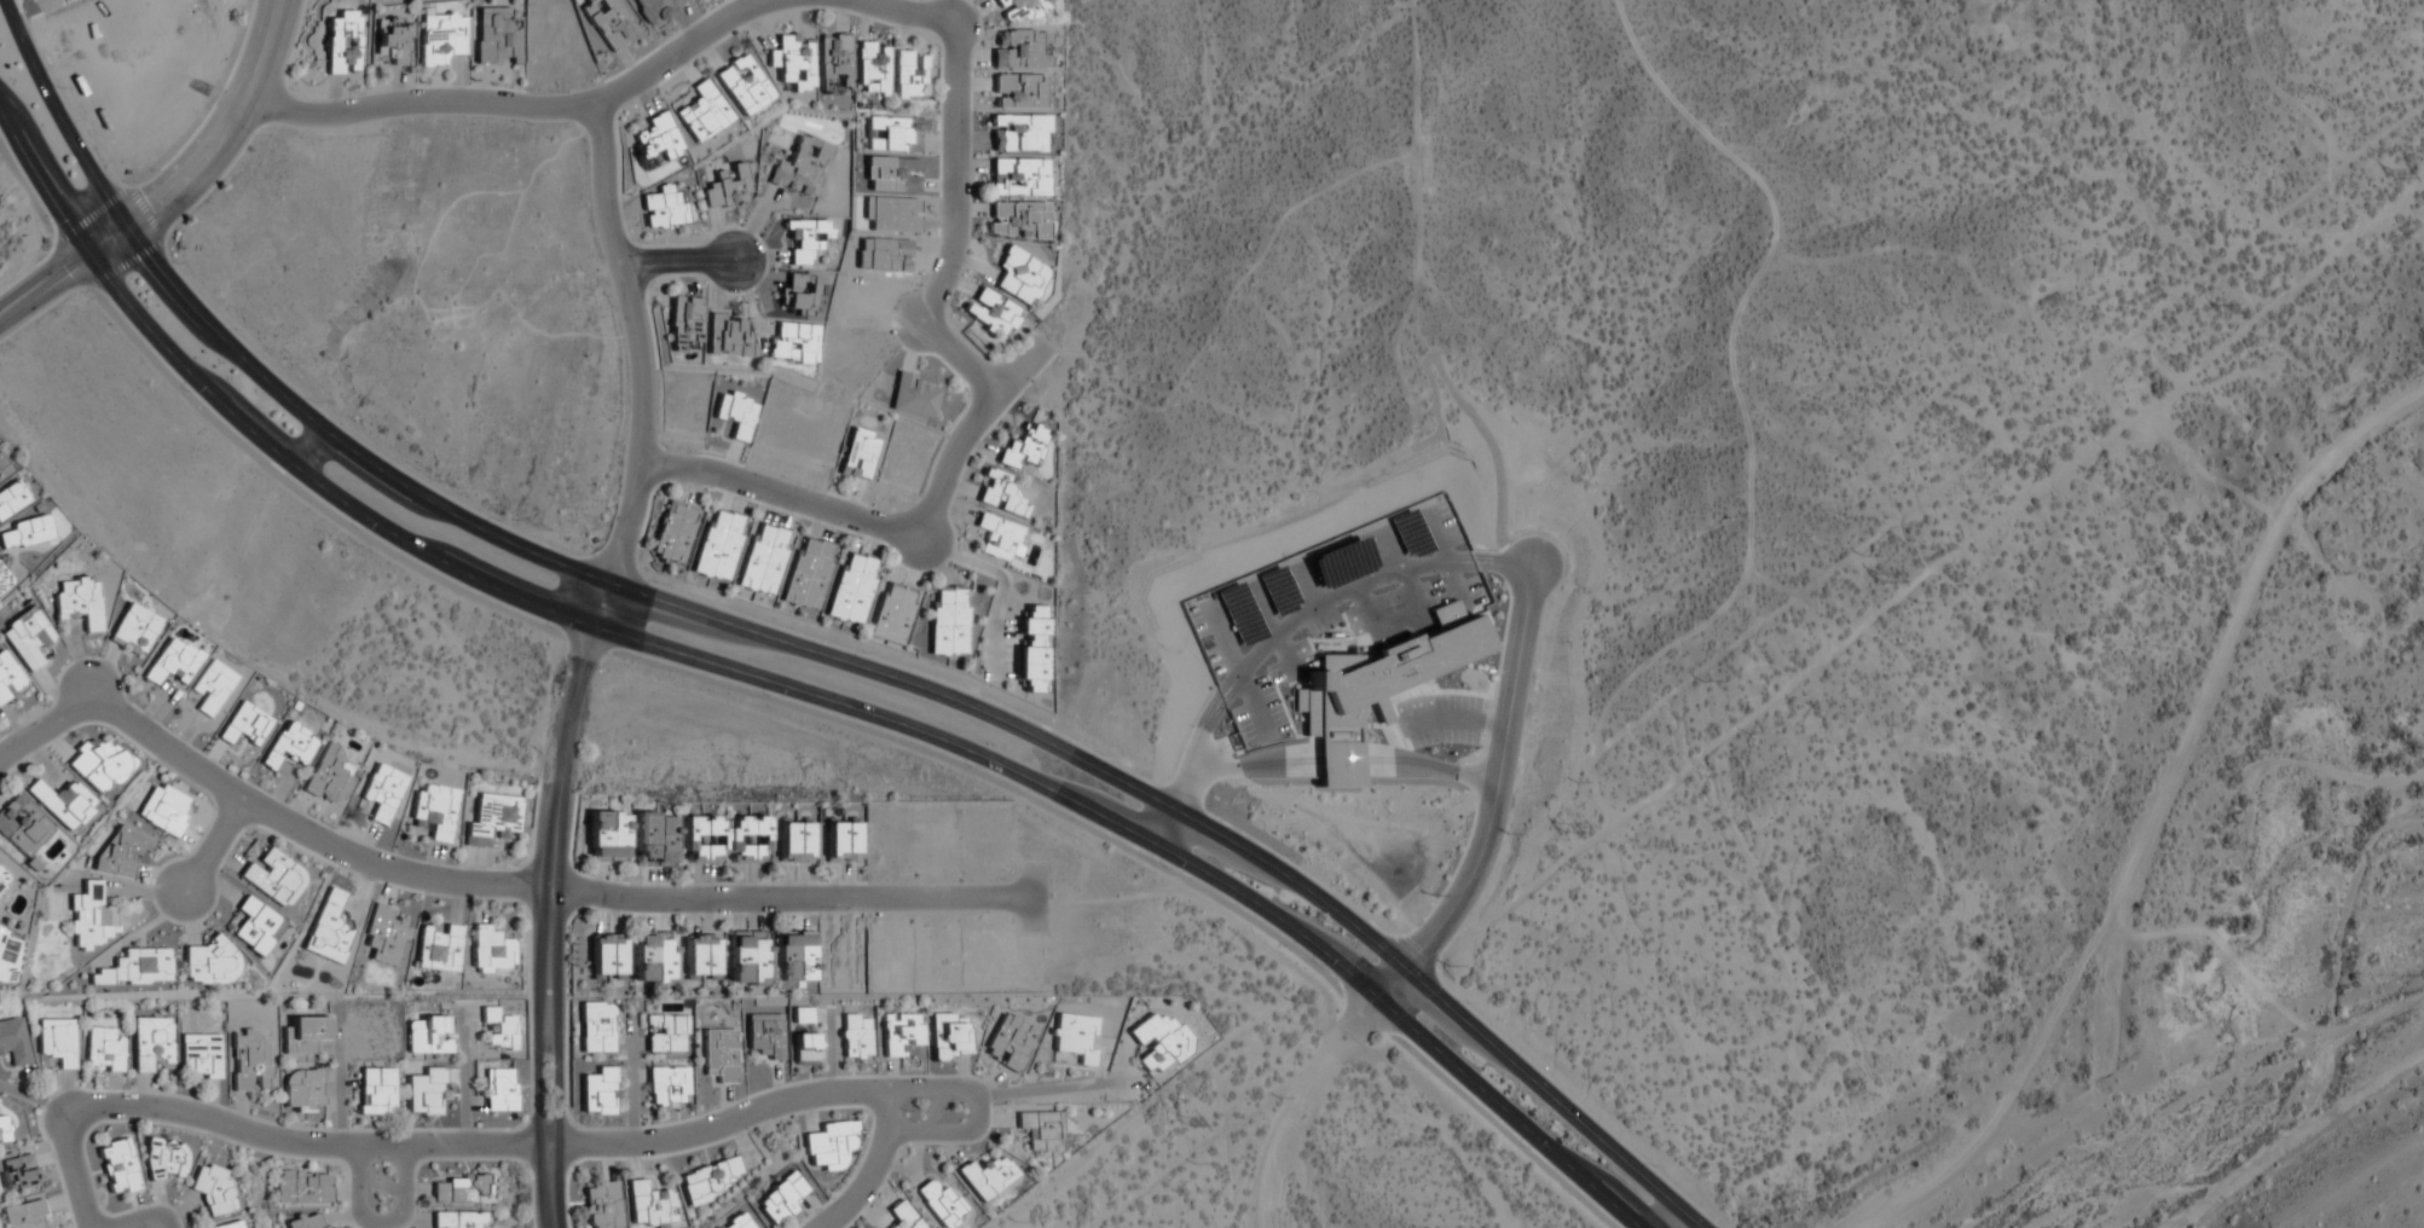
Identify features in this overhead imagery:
building: (658, 10)
building: (1020, 10)
building: (604, 23)
building: (494, 37)
building: (439, 39)
building: (389, 44)
building: (341, 45)
building: (1019, 50)
building: (833, 62)
building: (791, 63)
building: (872, 69)
street lamp: (973, 71)
building: (909, 76)
building: (742, 86)
street lamp: (58, 88)
street lamp: (523, 91)
building: (1018, 92)
road: (2277, 92)
street lamp: (354, 93)
road: (533, 108)
building: (702, 112)
building: (895, 134)
building: (1018, 134)
street lamp: (254, 137)
building: (654, 143)
road: (955, 155)
building: (802, 168)
street lamp: (154, 172)
power tower: (2393, 173)
building: (1017, 179)
building: (729, 189)
road: (178, 190)
building: (663, 209)
building: (1017, 220)
street lamp: (47, 224)
road: (1413, 225)
building: (806, 241)
street lamp: (646, 244)
road: (677, 260)
street lamp: (173, 263)
street lamp: (962, 271)
building: (1018, 277)
building: (798, 295)
power tower: (2220, 308)
building: (990, 313)
building: (682, 322)
building: (727, 336)
building: (791, 342)
road: (644, 369)
road: (1725, 372)
street lamp: (186, 393)
building: (912, 396)
street lamp: (313, 402)
building: (735, 413)
street lamp: (658, 434)
building: (1022, 447)
road: (1979, 452)
building: (858, 454)
building: (2, 470)
building: (1000, 496)
street lamp: (497, 521)
road: (885, 526)
street lamp: (357, 531)
building: (25, 533)
building: (675, 533)
road: (919, 534)
building: (999, 538)
building: (718, 545)
road: (1943, 558)
street lamp: (925, 577)
power tower: (1878, 578)
street lamp: (658, 584)
building: (852, 589)
building: (79, 603)
building: (892, 614)
road: (1282, 620)
building: (948, 621)
street lamp: (553, 630)
building: (133, 631)
building: (25, 638)
road: (805, 650)
building: (1031, 651)
street lamp: (864, 654)
street lamp: (98, 658)
building: (173, 664)
building: (8, 679)
building: (212, 689)
road: (792, 689)
street lamp: (769, 697)
building: (1377, 707)
building: (244, 726)
building: (289, 747)
building: (97, 765)
street lamp: (971, 769)
road: (1246, 769)
road: (1428, 772)
building: (331, 776)
road: (1499, 778)
building: (382, 794)
building: (63, 805)
building: (164, 810)
building: (435, 812)
road: (2152, 817)
building: (492, 819)
building: (22, 826)
power tower: (1558, 827)
road: (551, 830)
building: (607, 836)
building: (723, 839)
building: (654, 840)
building: (793, 842)
building: (840, 842)
road: (214, 845)
building: (121, 853)
street lamp: (515, 867)
street lamp: (1167, 869)
building: (4, 877)
building: (273, 877)
street lamp: (1001, 880)
street lamp: (724, 881)
road: (480, 885)
street lamp: (155, 911)
building: (89, 919)
building: (255, 926)
building: (329, 929)
building: (386, 934)
building: (438, 948)
building: (490, 950)
building: (606, 955)
building: (699, 956)
building: (5, 958)
building: (747, 958)
building: (653, 960)
building: (792, 960)
building: (207, 963)
street lamp: (1317, 967)
building: (135, 969)
building: (803, 1015)
building: (596, 1027)
building: (498, 1030)
building: (667, 1033)
building: (427, 1035)
building: (305, 1036)
building: (766, 1036)
building: (949, 1036)
building: (902, 1037)
building: (856, 1038)
building: (1076, 1038)
building: (1156, 1041)
building: (13, 1042)
building: (57, 1042)
building: (1009, 1043)
building: (151, 1045)
building: (805, 1049)
building: (104, 1050)
building: (719, 1055)
building: (199, 1058)
building: (249, 1062)
building: (667, 1087)
road: (1065, 1088)
building: (302, 1091)
building: (498, 1091)
road: (559, 1091)
building: (375, 1093)
building: (426, 1093)
building: (598, 1093)
street lamp: (568, 1108)
street lamp: (904, 1111)
road: (979, 1111)
power tower: (1182, 1120)
building: (1041, 1130)
building: (2, 1131)
street lamp: (750, 1133)
road: (504, 1145)
building: (829, 1146)
street lamp: (1525, 1148)
building: (166, 1160)
street lamp: (382, 1160)
building: (118, 1168)
building: (17, 1174)
building: (988, 1177)
building: (707, 1181)
road: (549, 1186)
building: (301, 1188)
building: (215, 1191)
building: (462, 1191)
building: (782, 1198)
building: (941, 1203)
building: (601, 1205)
building: (649, 1205)
building: (24, 1216)
building: (902, 1216)
road: (141, 1218)
building: (456, 1220)
building: (303, 1222)
building: (736, 1222)
road: (380, 1223)
building: (226, 1226)
building: (331, 1227)

